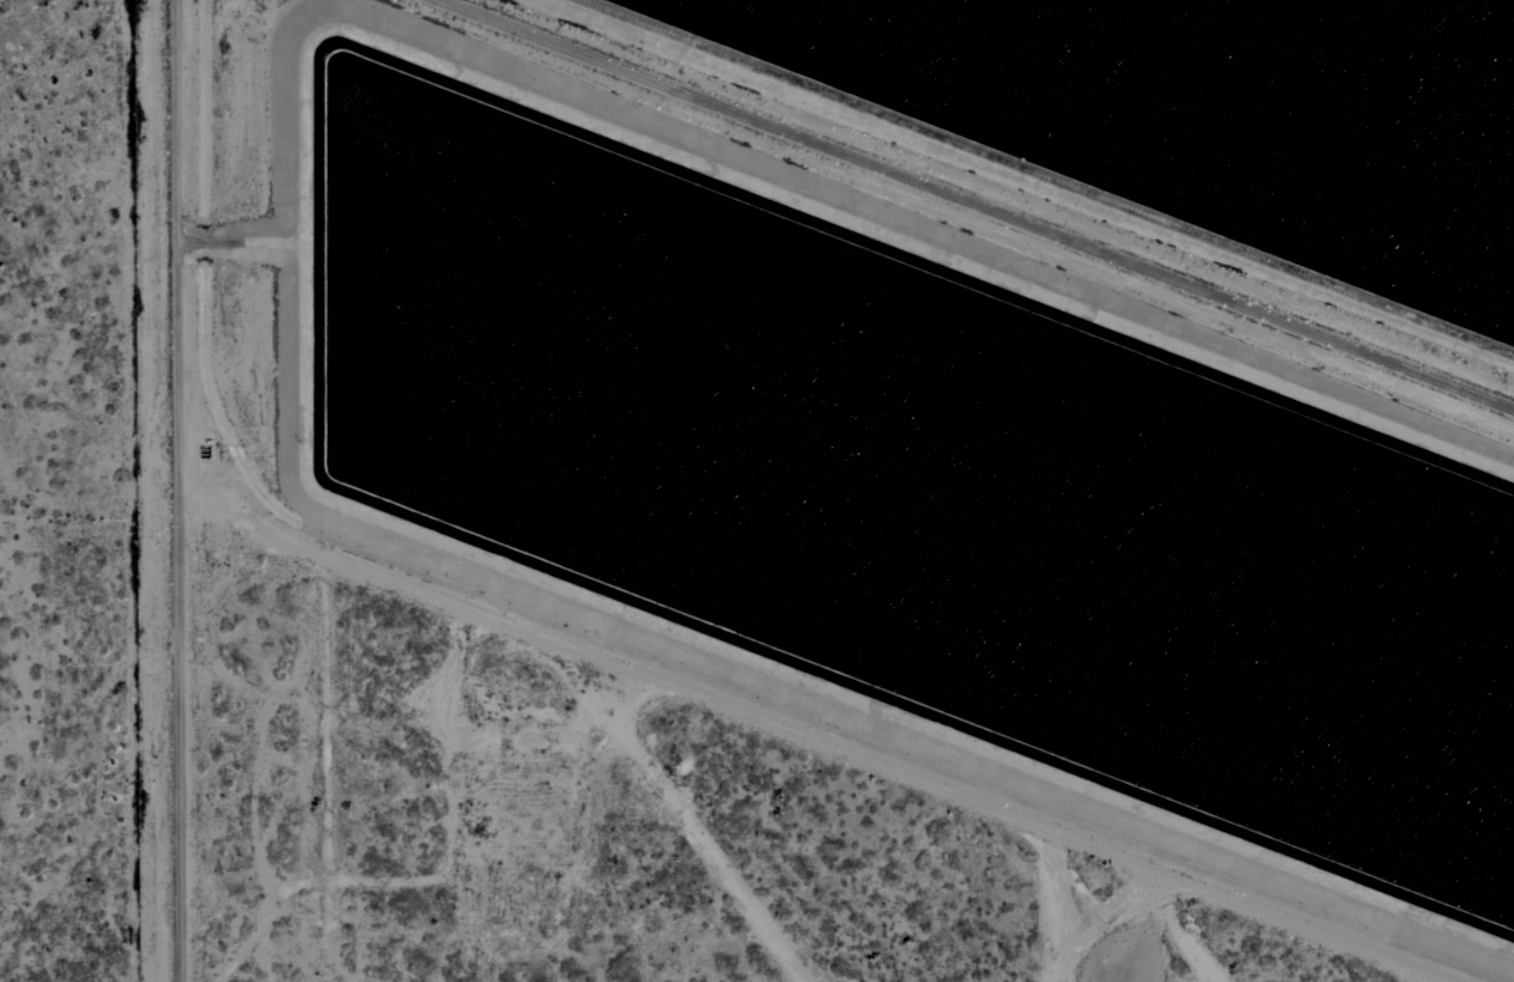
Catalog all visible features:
wastewater plant: (970, 378)
road: (184, 491)

